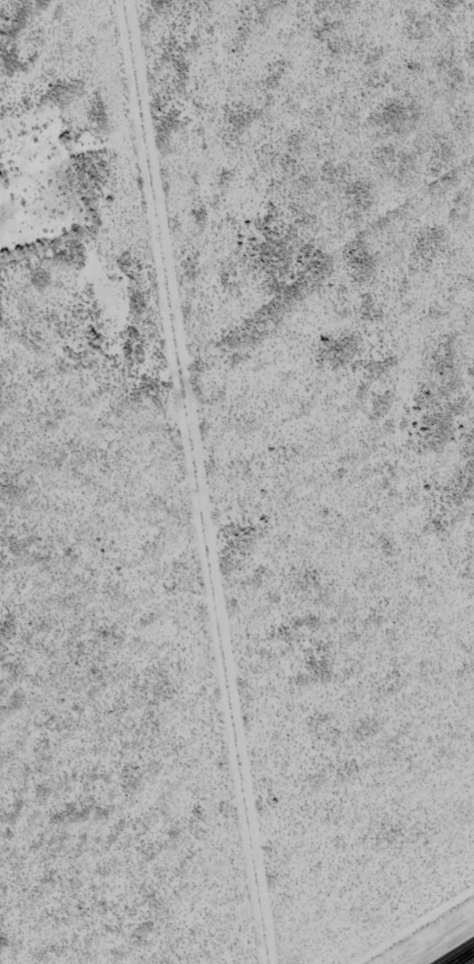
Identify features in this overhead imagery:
road: (52, 344)
road: (457, 953)

